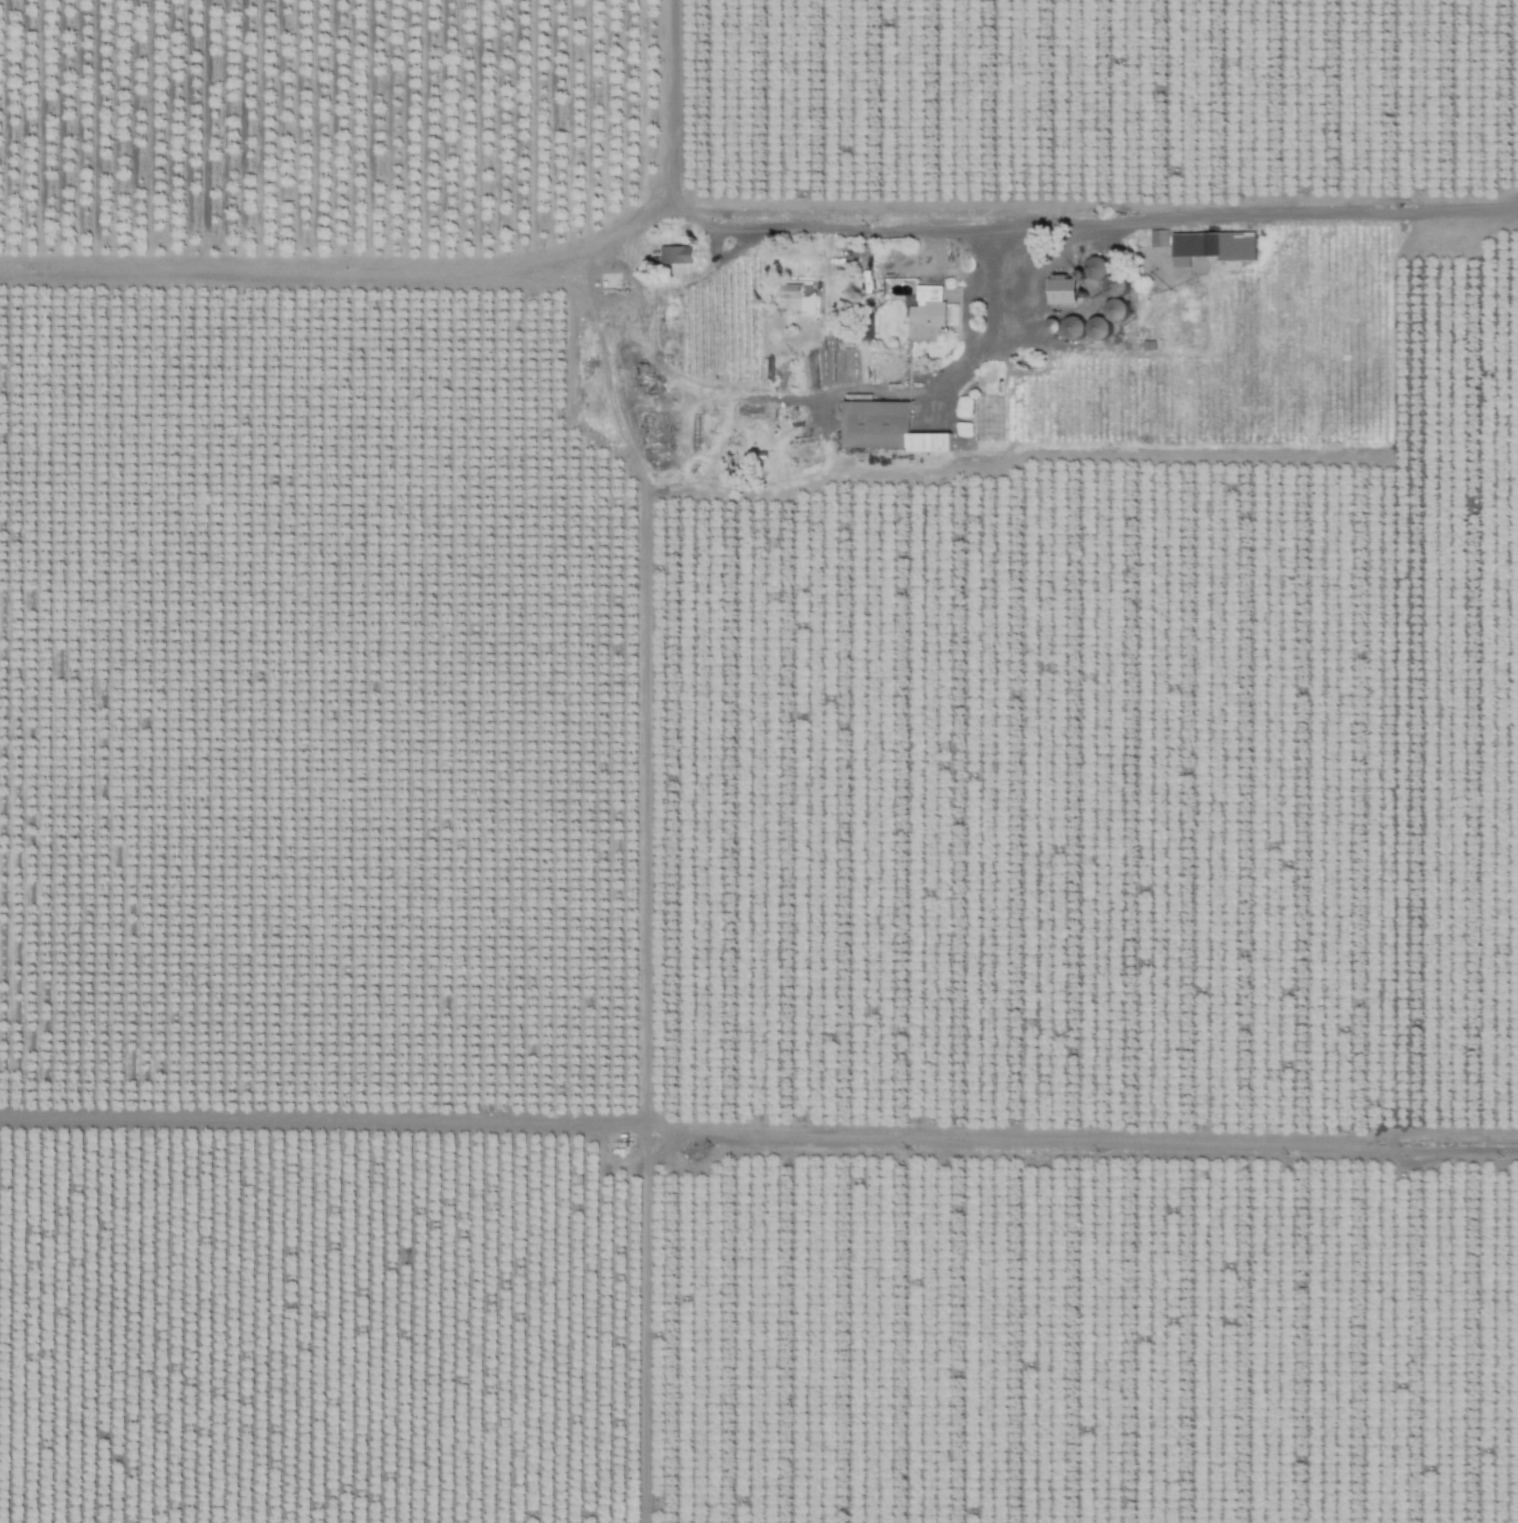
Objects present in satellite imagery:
road: (697, 220)
road: (1126, 225)
building: (1158, 237)
building: (1212, 246)
building: (676, 253)
building: (1094, 270)
road: (444, 274)
building: (1114, 284)
building: (1062, 290)
road: (594, 294)
building: (799, 294)
building: (927, 313)
road: (652, 319)
road: (631, 348)
road: (574, 386)
road: (932, 389)
building: (988, 422)
building: (887, 427)

